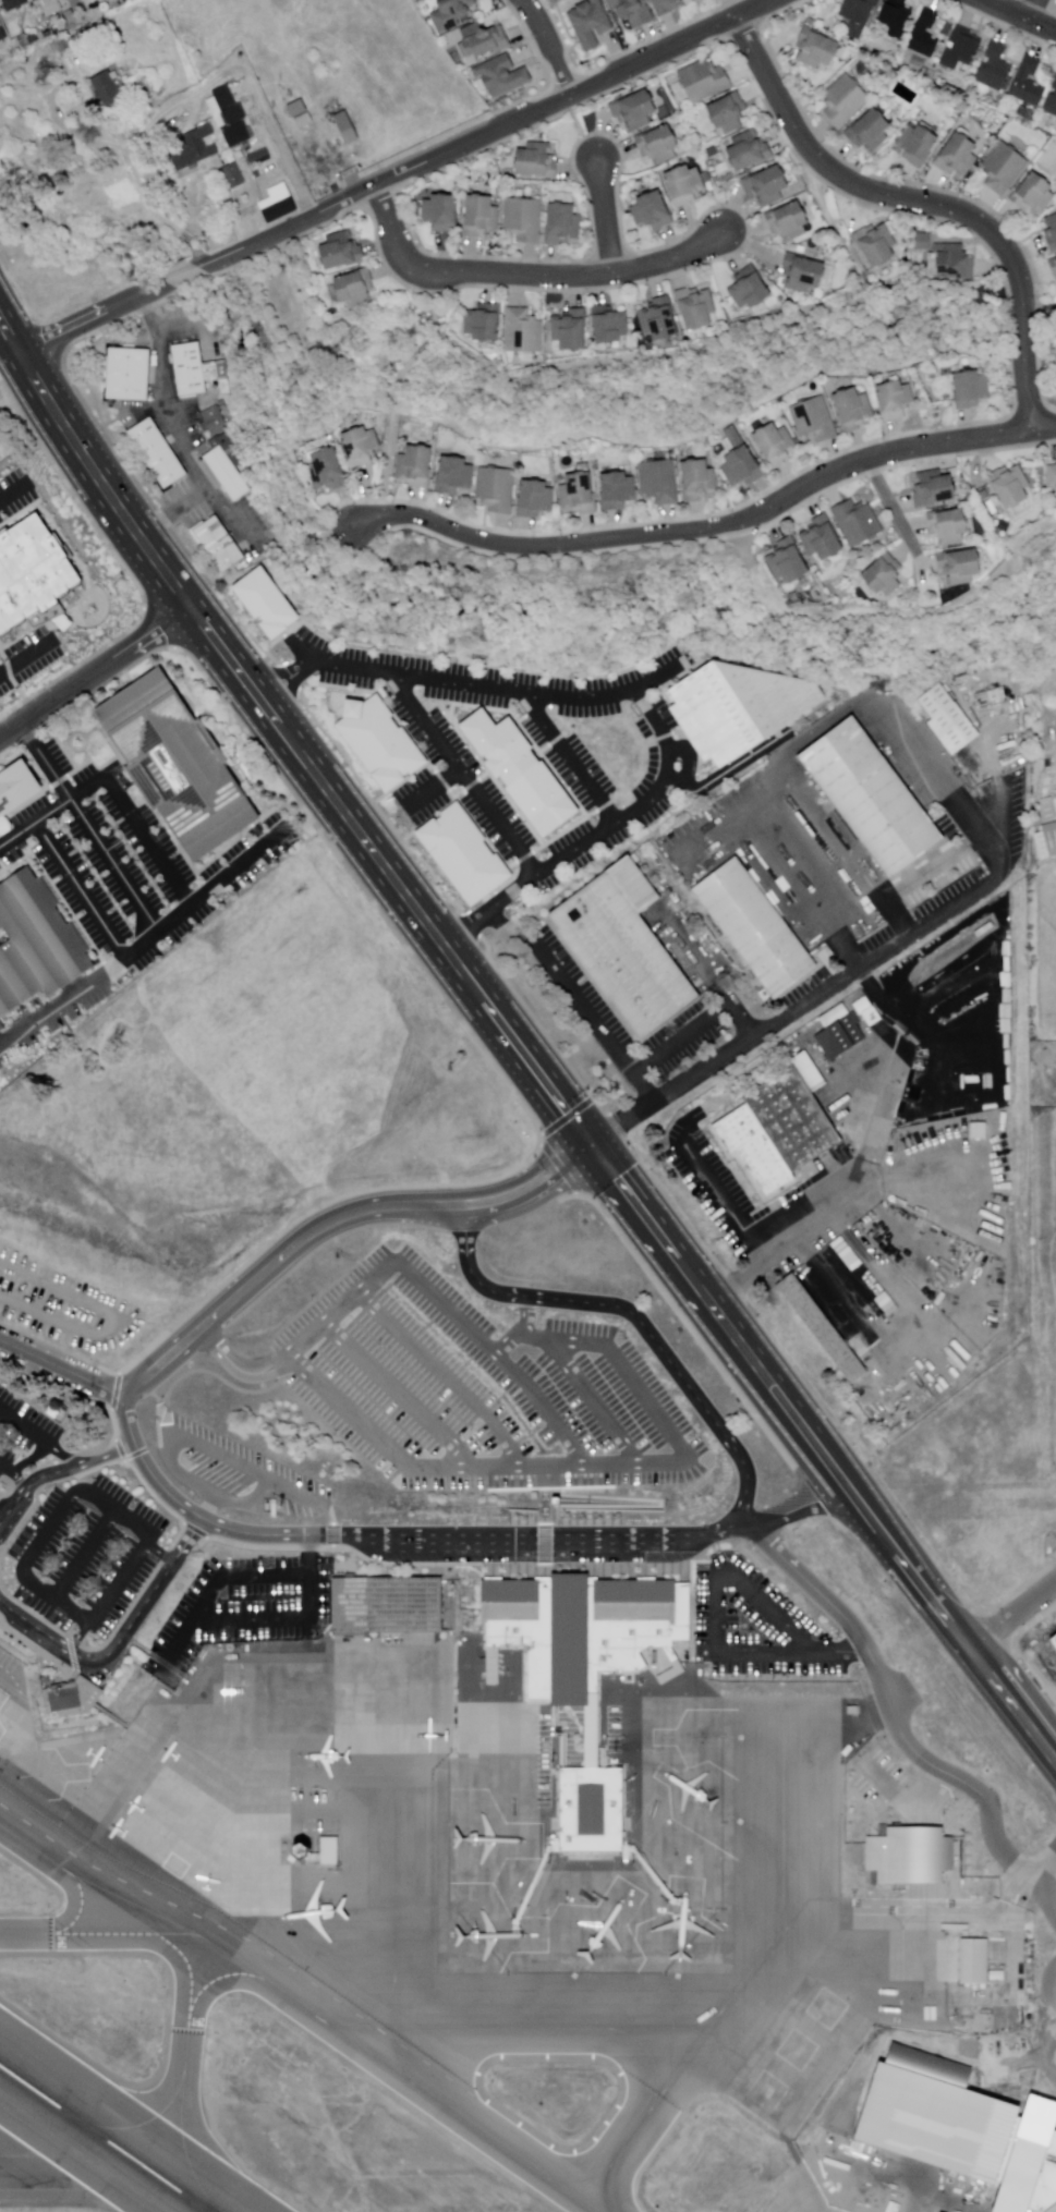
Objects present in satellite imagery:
building: (420, 1)
building: (15, 5)
building: (48, 7)
building: (667, 8)
road: (731, 9)
road: (1035, 10)
building: (632, 13)
building: (453, 15)
building: (860, 15)
road: (1020, 15)
building: (898, 17)
building: (811, 21)
building: (592, 24)
building: (97, 27)
building: (926, 34)
building: (2, 37)
building: (23, 42)
building: (484, 44)
road: (551, 46)
building: (816, 48)
building: (963, 48)
building: (84, 49)
building: (997, 68)
building: (864, 70)
road: (250, 74)
building: (505, 80)
building: (1028, 81)
building: (706, 83)
building: (1055, 86)
building: (109, 89)
building: (846, 100)
building: (1051, 105)
building: (956, 107)
building: (636, 112)
building: (731, 113)
building: (1028, 114)
building: (302, 116)
building: (122, 118)
building: (233, 119)
building: (963, 120)
building: (870, 129)
building: (348, 130)
road: (578, 131)
road: (489, 134)
building: (919, 144)
building: (660, 145)
building: (247, 147)
building: (751, 149)
building: (195, 150)
building: (241, 156)
building: (959, 156)
building: (260, 158)
building: (538, 161)
building: (1005, 168)
road: (136, 172)
building: (233, 179)
building: (259, 180)
building: (687, 185)
building: (769, 185)
building: (1036, 195)
road: (926, 203)
building: (280, 206)
building: (654, 211)
building: (444, 212)
building: (483, 216)
road: (607, 217)
building: (525, 220)
building: (790, 221)
building: (563, 224)
road: (833, 229)
building: (1053, 232)
storage tank: (211, 242)
building: (924, 242)
building: (879, 244)
building: (344, 251)
building: (954, 263)
building: (1054, 265)
building: (805, 274)
road: (529, 276)
road: (184, 277)
road: (294, 279)
building: (356, 289)
building: (751, 289)
building: (696, 308)
road: (1040, 308)
road: (92, 314)
building: (660, 319)
building: (485, 324)
building: (611, 325)
building: (572, 330)
building: (524, 331)
road: (425, 345)
road: (695, 347)
building: (195, 369)
building: (129, 375)
building: (973, 389)
building: (897, 400)
building: (854, 411)
building: (816, 421)
building: (215, 422)
road: (170, 424)
road: (387, 435)
building: (777, 446)
building: (362, 447)
building: (158, 453)
building: (742, 461)
road: (89, 463)
building: (227, 466)
building: (415, 467)
building: (328, 471)
building: (456, 476)
building: (1054, 477)
building: (660, 482)
building: (700, 482)
building: (1011, 486)
building: (498, 490)
building: (935, 490)
building: (619, 491)
road: (9, 493)
building: (581, 495)
parking lot: (13, 496)
building: (537, 499)
road: (894, 509)
road: (171, 514)
building: (859, 522)
building: (951, 527)
road: (711, 532)
building: (824, 539)
building: (219, 545)
building: (790, 561)
building: (962, 568)
building: (32, 570)
building: (884, 578)
building: (264, 606)
road: (20, 657)
parking lot: (24, 660)
road: (663, 672)
road: (94, 674)
road: (624, 692)
building: (991, 697)
building: (739, 704)
building: (951, 720)
building: (379, 741)
road: (569, 757)
building: (178, 764)
parking lot: (576, 765)
building: (520, 769)
road: (463, 775)
road: (436, 787)
building: (16, 789)
building: (876, 801)
building: (1047, 806)
road: (32, 822)
building: (0, 825)
road: (135, 827)
road: (85, 828)
building: (1049, 837)
building: (1045, 842)
building: (464, 854)
parking lot: (131, 856)
building: (658, 864)
road: (388, 878)
road: (215, 882)
road: (77, 889)
building: (758, 928)
road: (139, 943)
building: (35, 944)
building: (628, 952)
road: (62, 999)
building: (863, 1006)
road: (796, 1011)
building: (874, 1018)
building: (842, 1036)
building: (830, 1072)
building: (981, 1131)
building: (777, 1135)
traffic signals: (593, 1145)
road: (530, 1183)
road: (276, 1261)
road: (344, 1302)
road: (716, 1312)
road: (638, 1317)
building: (824, 1328)
road: (63, 1366)
road: (449, 1373)
road: (210, 1374)
parking lot: (473, 1387)
road: (398, 1394)
road: (543, 1398)
road: (597, 1399)
parking lot: (26, 1438)
road: (36, 1438)
road: (204, 1445)
road: (148, 1469)
road: (590, 1469)
road: (59, 1471)
parking lot: (234, 1471)
road: (14, 1475)
road: (548, 1480)
road: (657, 1503)
road: (211, 1509)
road: (802, 1509)
road: (52, 1517)
road: (549, 1542)
road: (478, 1544)
parking lot: (86, 1551)
road: (158, 1553)
road: (83, 1557)
road: (214, 1582)
road: (711, 1601)
building: (385, 1605)
parking lot: (239, 1607)
road: (949, 1612)
road: (1017, 1614)
road: (290, 1619)
parking lot: (754, 1626)
road: (74, 1634)
building: (1053, 1639)
road: (122, 1641)
road: (835, 1653)
airport terminal: (580, 1668)
building: (580, 1668)
building: (74, 1698)
road: (891, 1706)
road: (108, 1715)
airport taxiway: (720, 1735)
airport: (481, 1777)
airport taxiway: (732, 1815)
airport taxiway: (441, 1839)
building: (292, 1849)
building: (321, 1852)
building: (910, 1854)
airport apron: (519, 1862)
road: (1041, 1870)
airport taxiway: (64, 1873)
road: (1018, 1894)
building: (537, 1904)
road: (1041, 1905)
airport taxiway: (121, 1935)
airport taxiway: (169, 1935)
airport taxiway: (449, 1937)
airport taxiway: (763, 1946)
airport taxiway: (391, 1953)
building: (978, 1962)
airport taxiway: (572, 1972)
road: (1043, 1989)
airport taxiway: (672, 2003)
parking lot: (1053, 2007)
airport taxiway: (547, 2012)
airport taxiway: (186, 2016)
airport taxiway: (391, 2028)
airport taxiway: (530, 2029)
airport taxiway: (338, 2033)
airport taxiway: (648, 2107)
airport terminal: (963, 2124)
building: (963, 2124)
airport runway: (104, 2139)
airport taxiway: (150, 2144)
airport taxiway: (183, 2162)
airport apron: (874, 2183)
airport hangar: (1052, 2208)
building: (1052, 2208)
airport apron: (1034, 2209)

